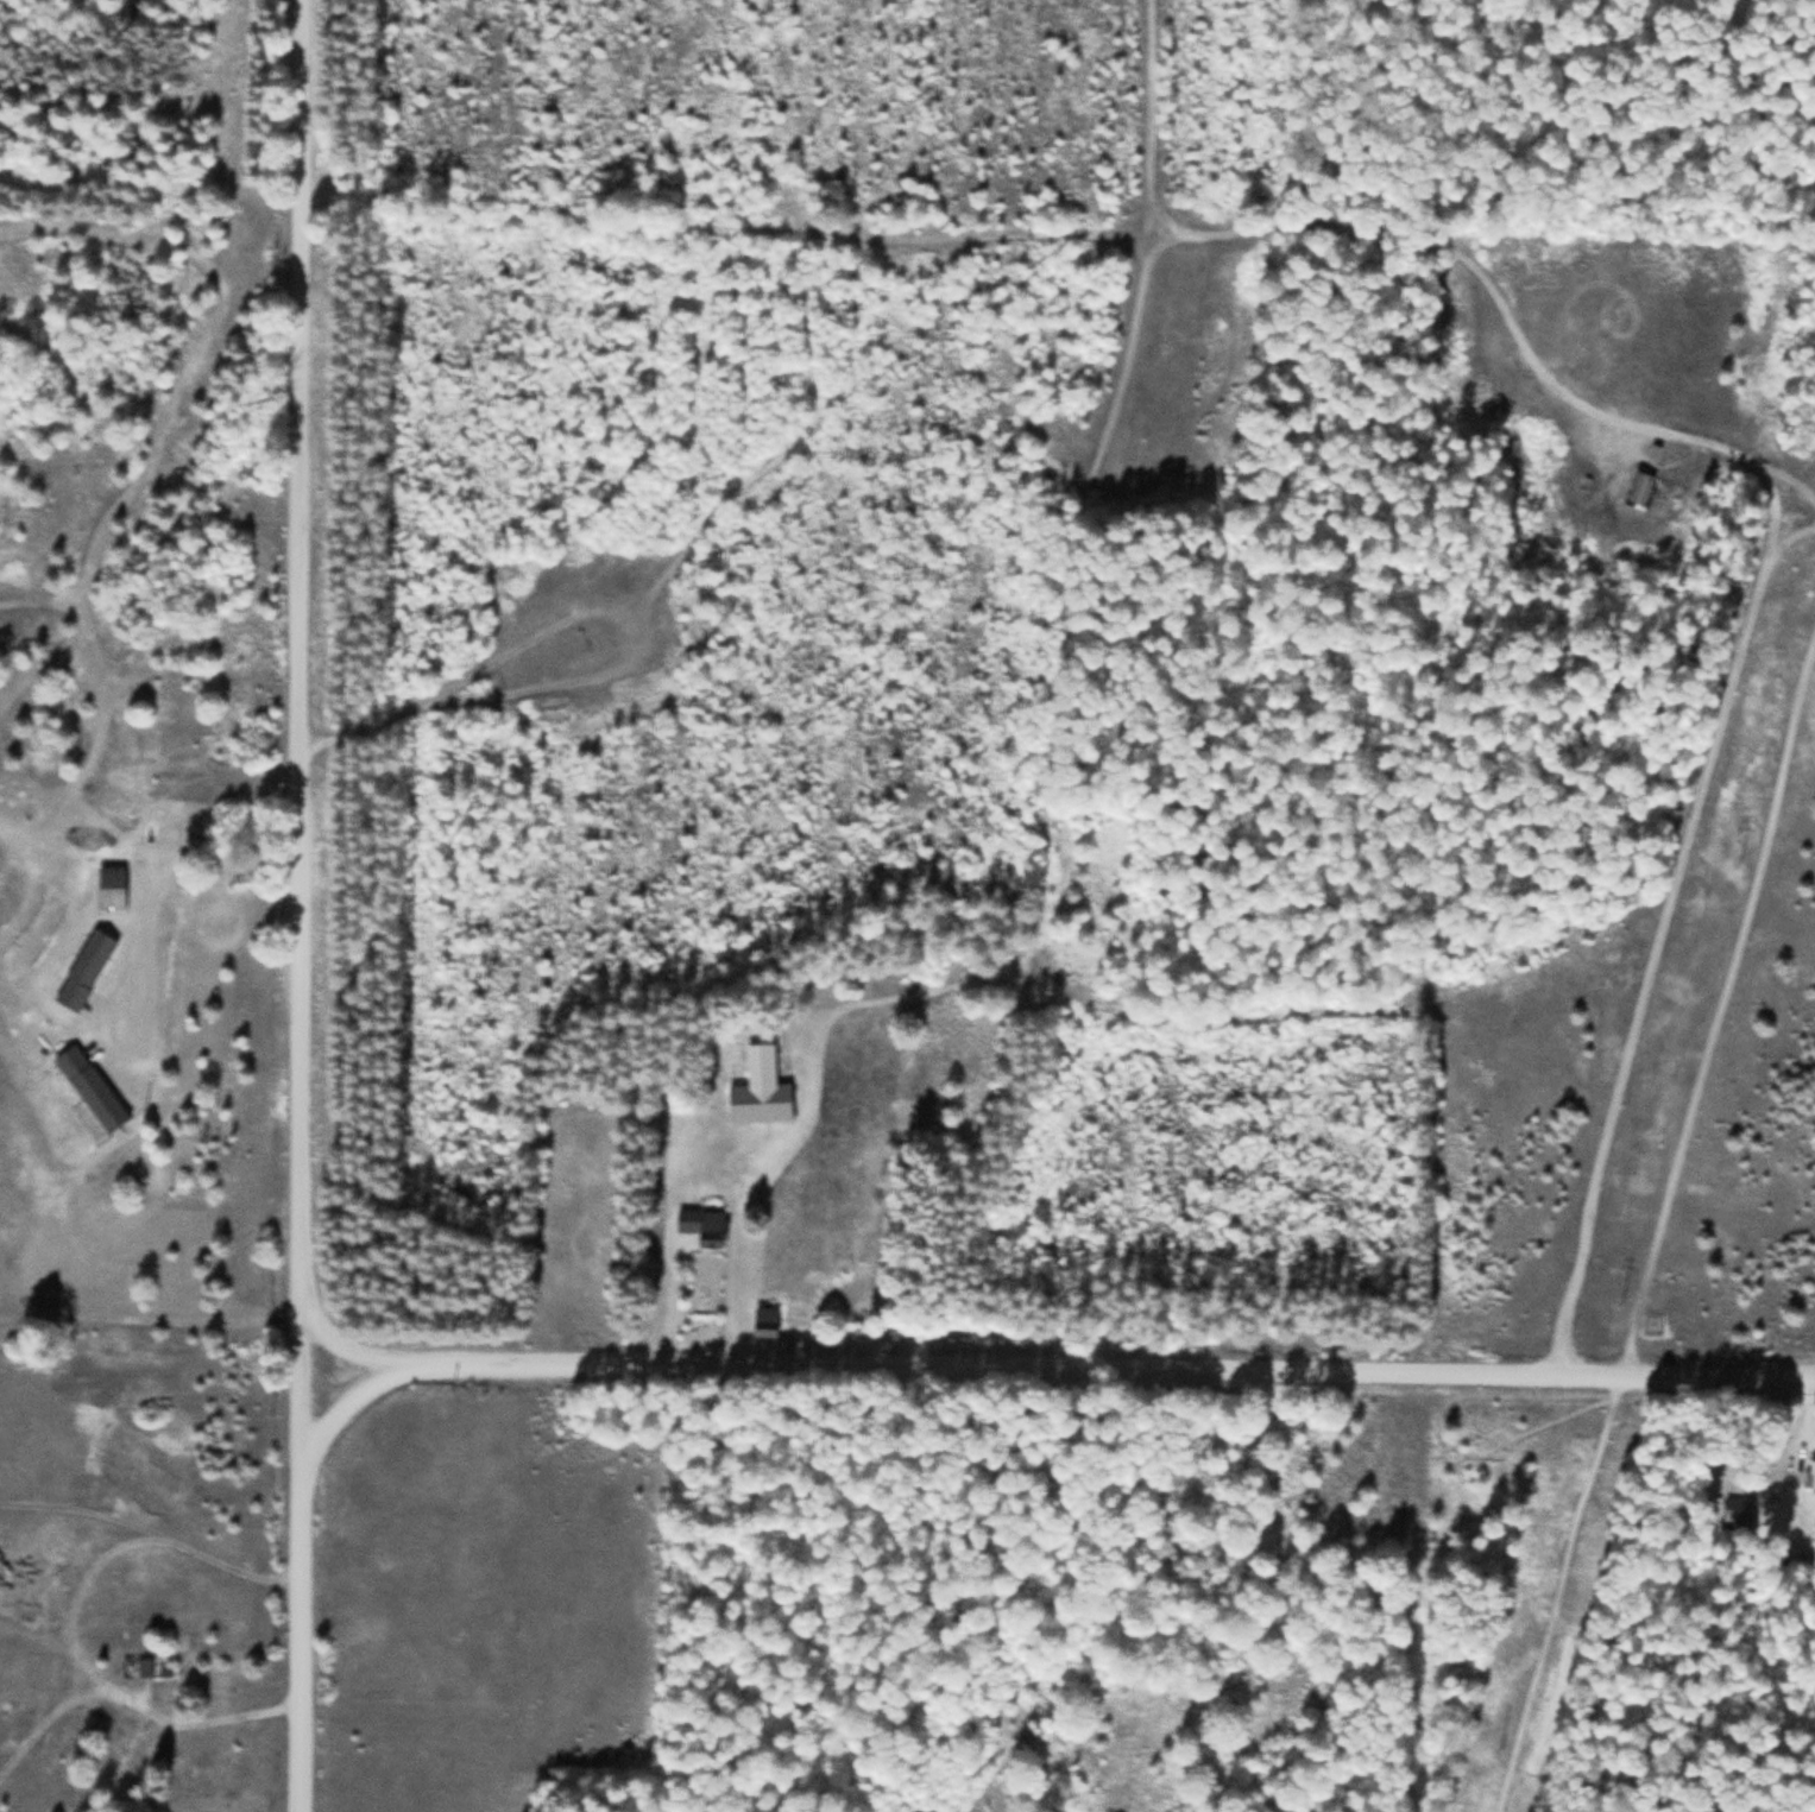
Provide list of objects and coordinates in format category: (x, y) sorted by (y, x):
road: (1326, 235)
road: (1674, 435)
road: (1659, 461)
road: (1767, 479)
building: (1640, 487)
building: (111, 891)
road: (296, 905)
road: (1652, 958)
building: (82, 981)
building: (760, 1091)
building: (702, 1226)
building: (764, 1322)
road: (1057, 1370)
building: (1811, 1473)
building: (1737, 1509)
building: (137, 1668)
building: (124, 1755)

